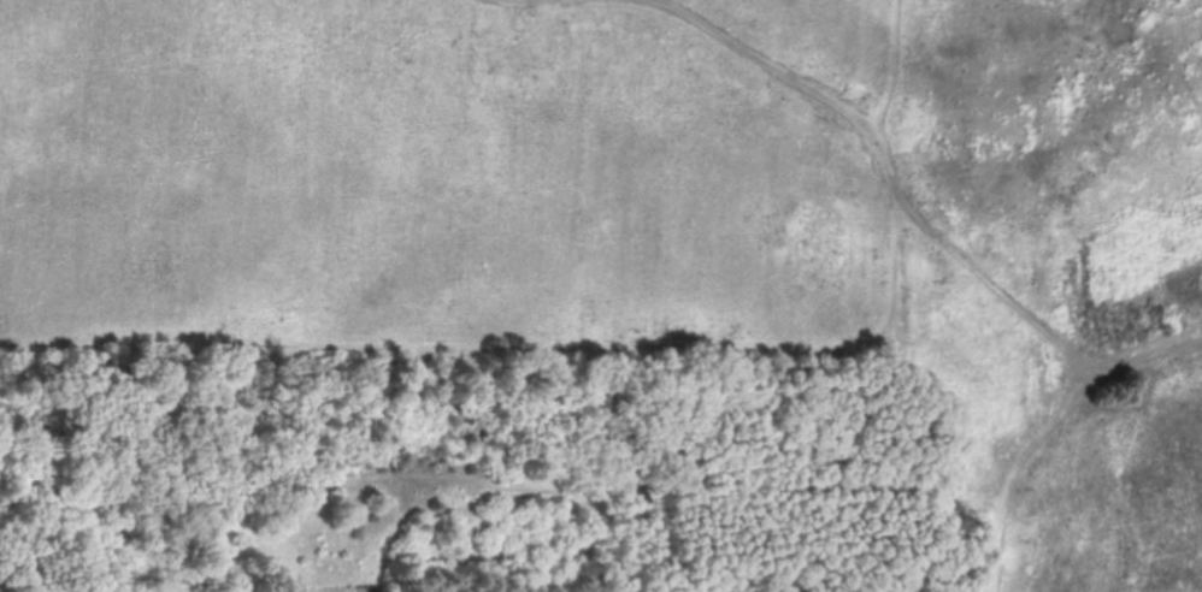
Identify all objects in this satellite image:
road: (774, 66)
road: (892, 72)
road: (889, 166)
road: (995, 285)
road: (515, 347)
road: (1150, 354)
road: (1015, 468)

